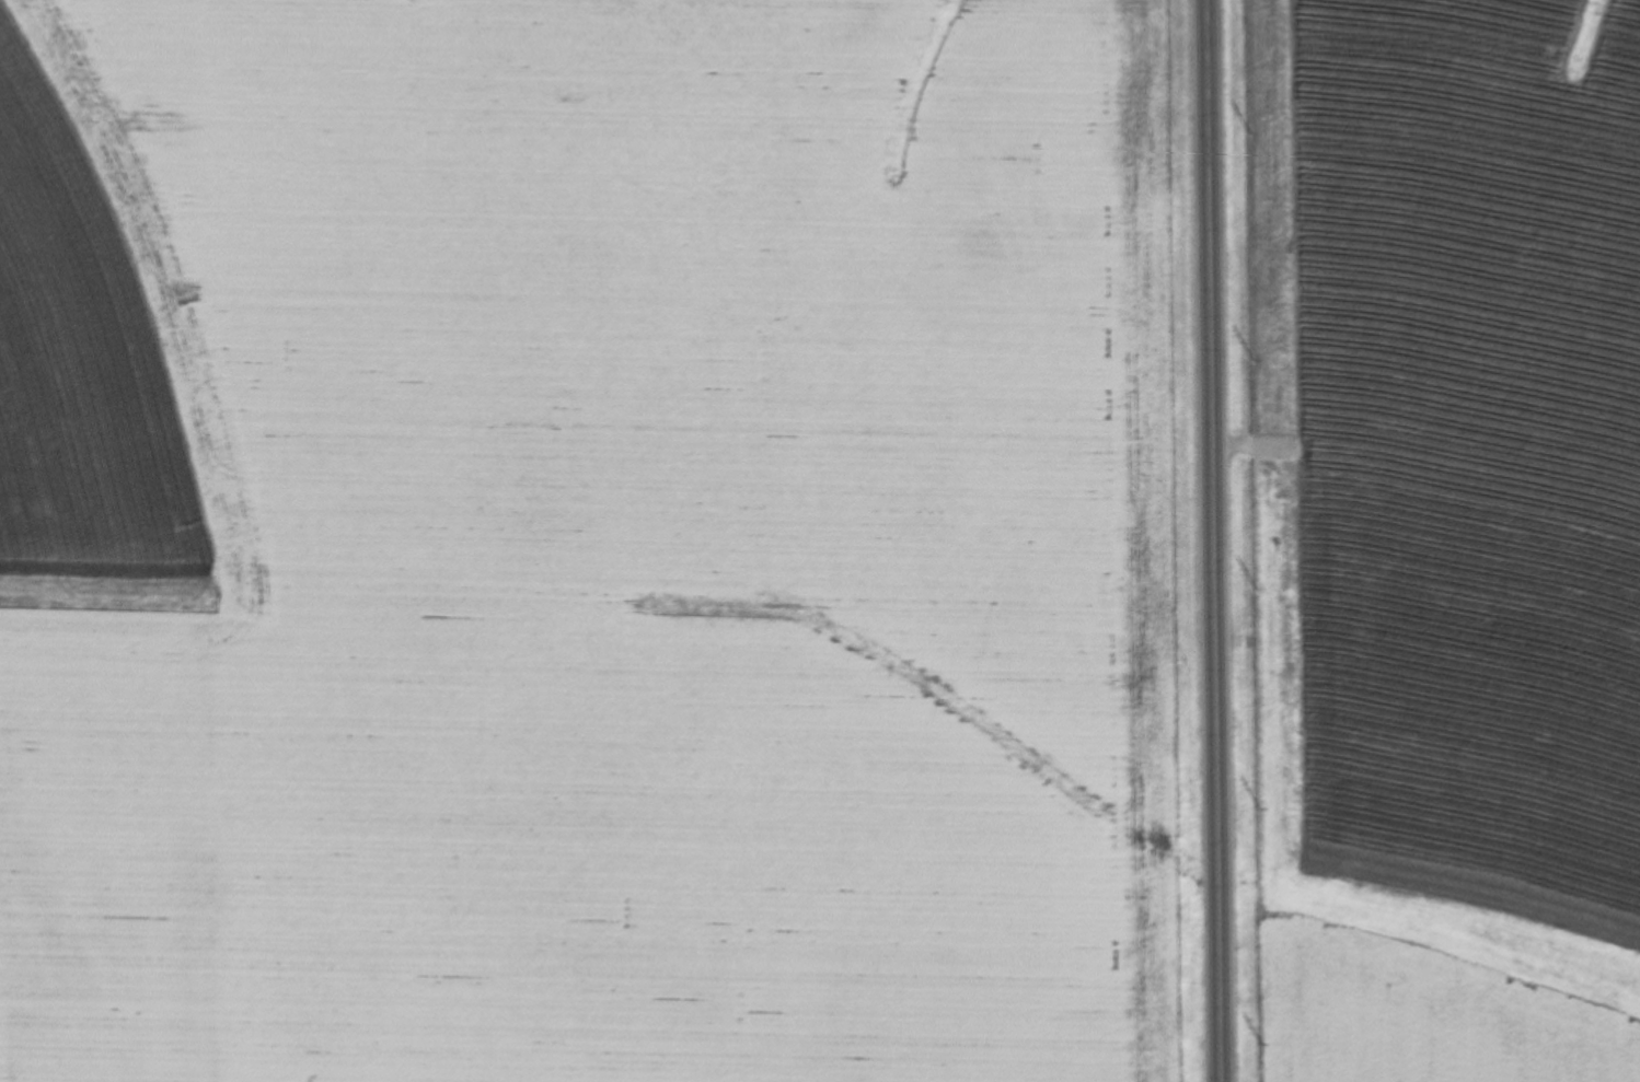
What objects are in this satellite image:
road: (1211, 540)

